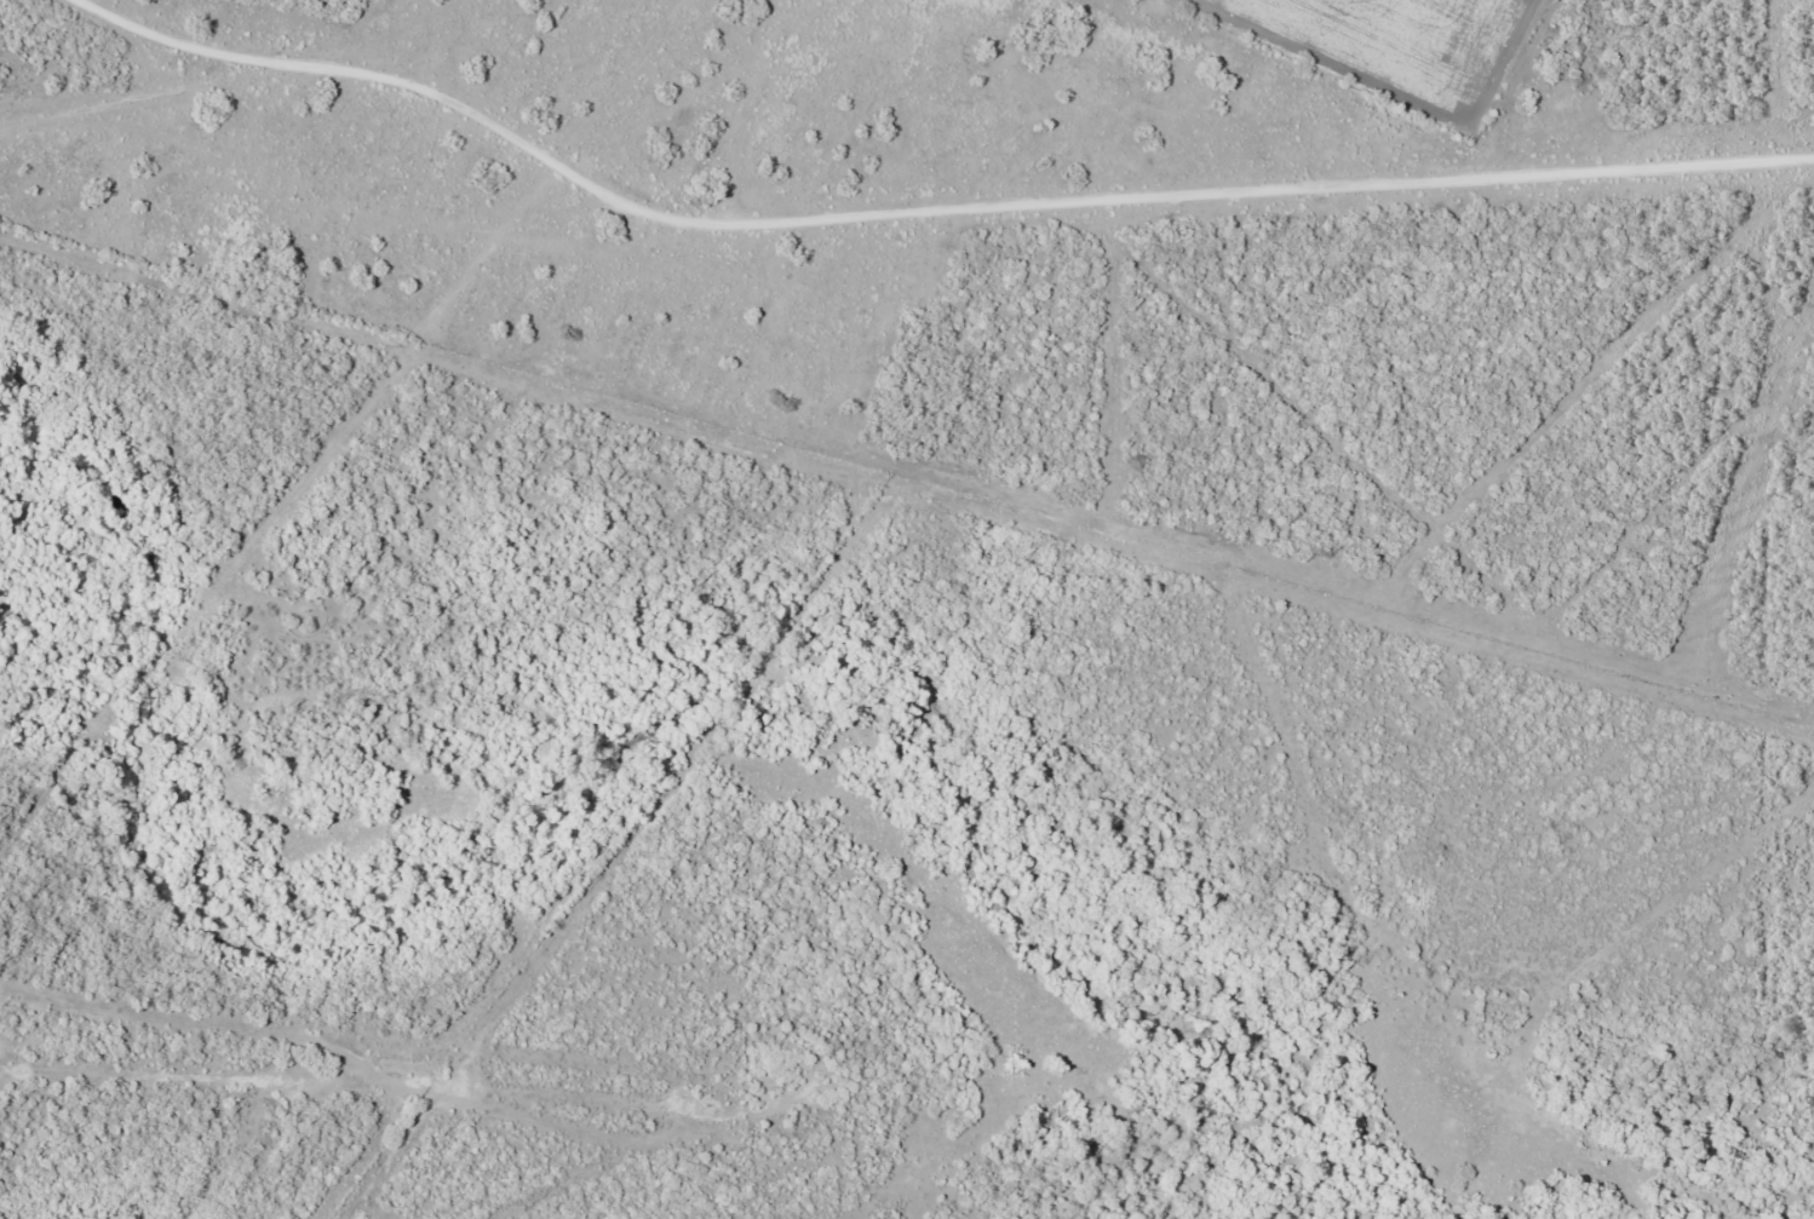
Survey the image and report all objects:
road: (473, 53)
road: (131, 97)
road: (754, 107)
road: (915, 230)
road: (455, 286)

